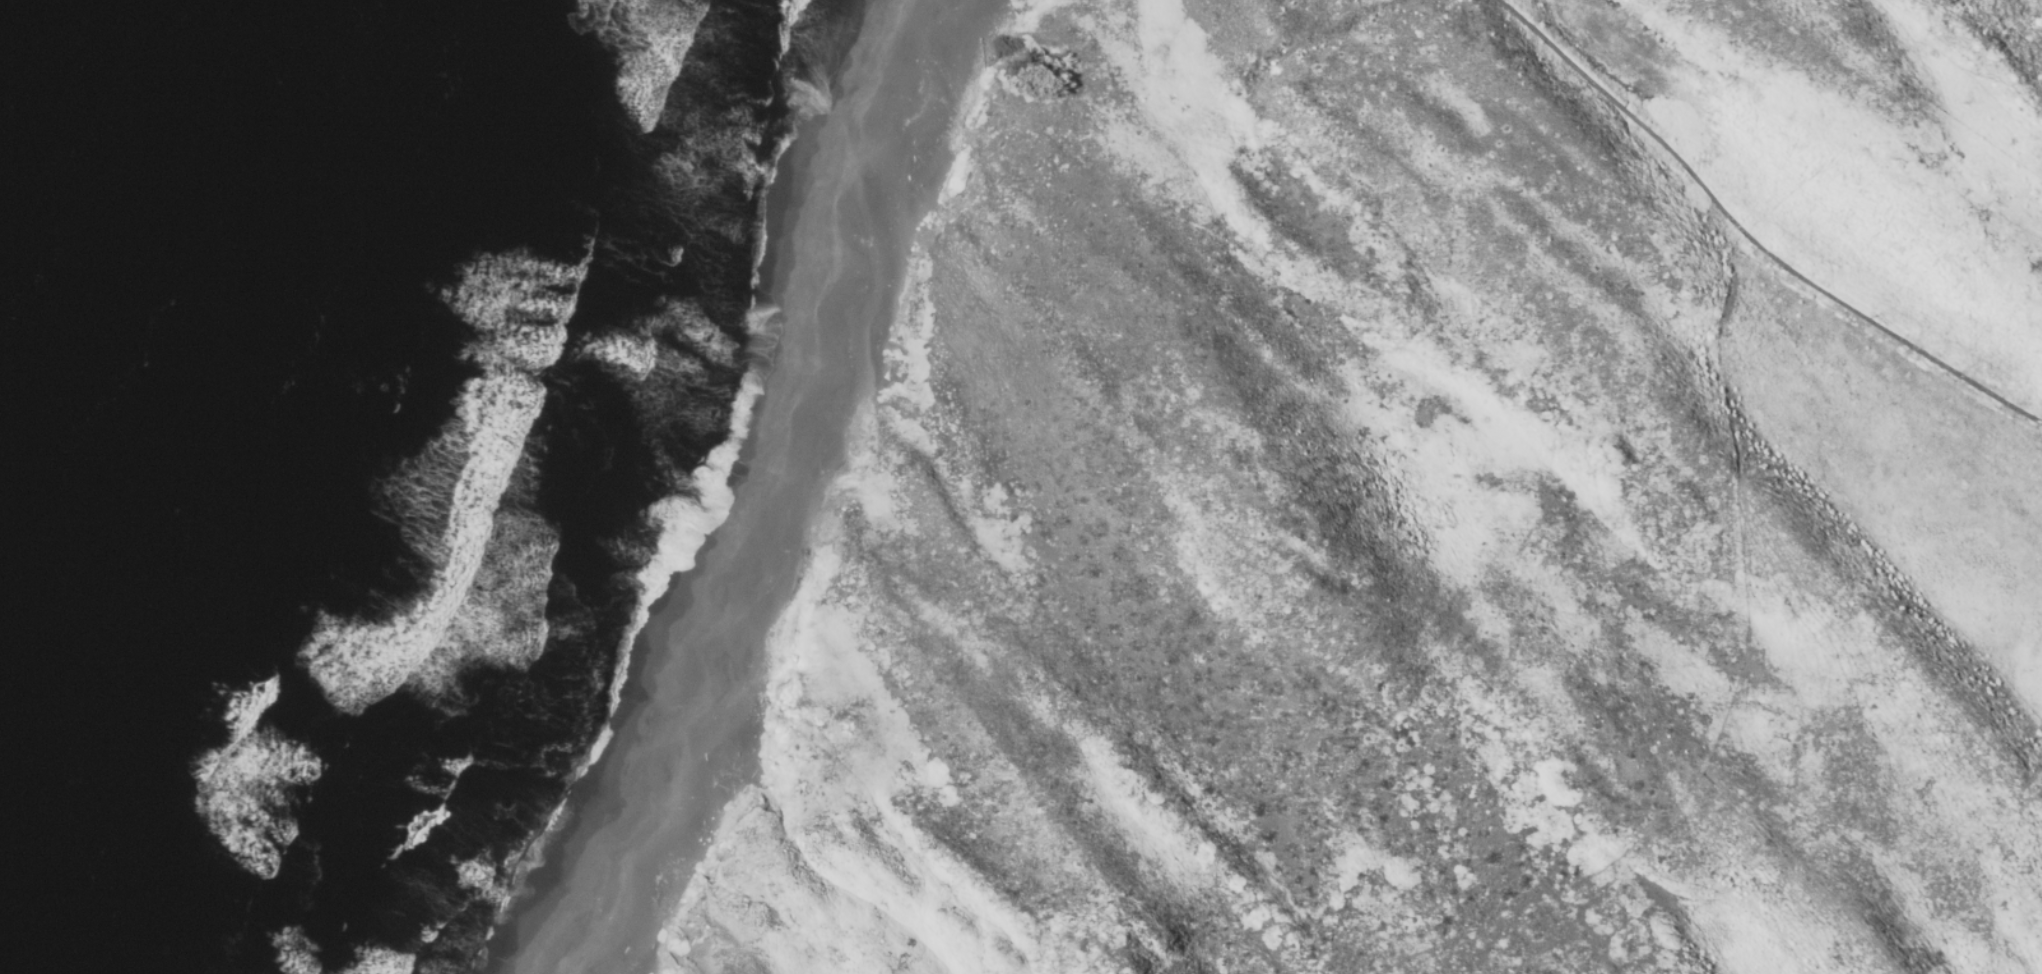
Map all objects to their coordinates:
road: (1747, 238)

